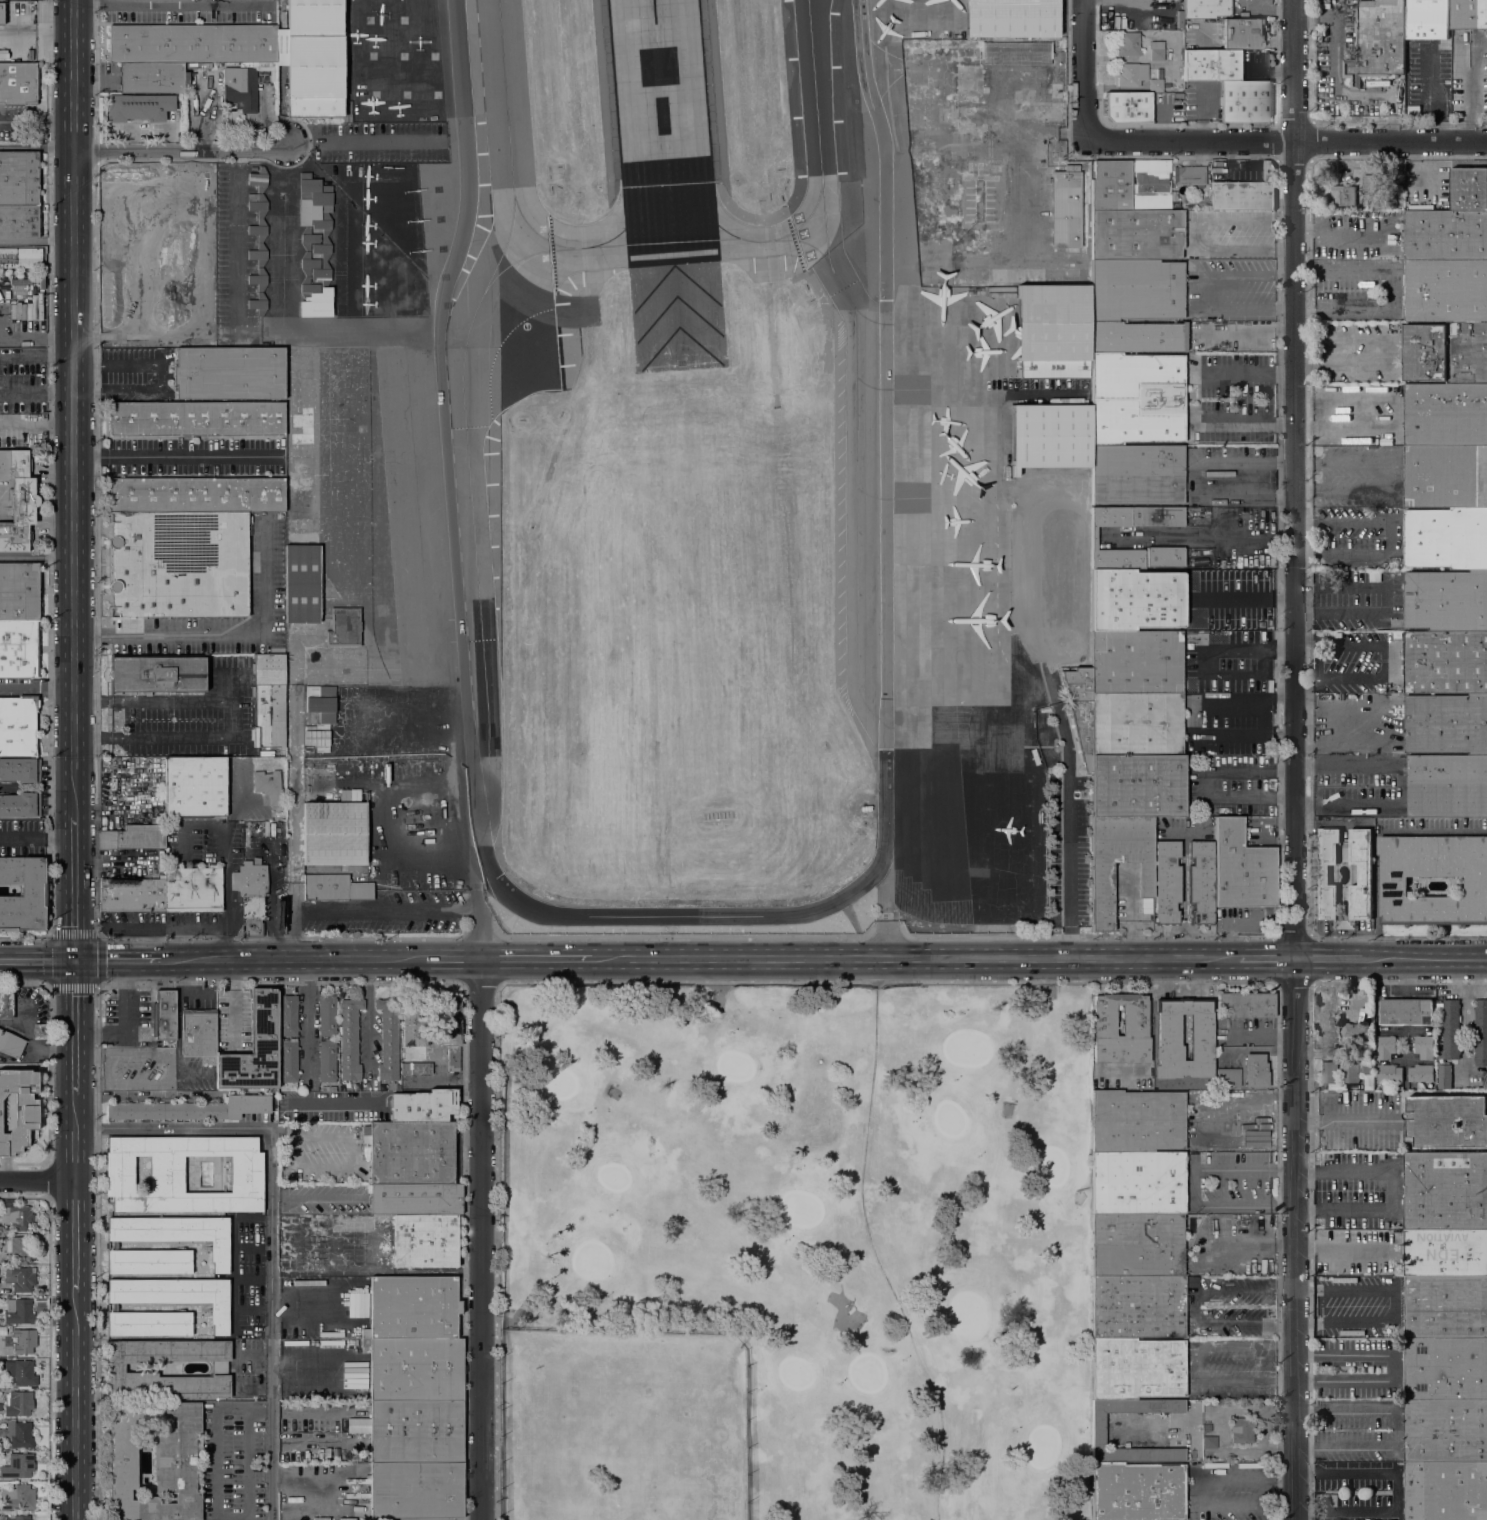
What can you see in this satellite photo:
building: (2, 0)
road: (111, 5)
building: (1206, 9)
road: (170, 10)
building: (1, 14)
building: (1468, 14)
building: (1010, 18)
building: (1427, 19)
helipad: (400, 21)
helipad: (368, 23)
building: (1172, 23)
building: (1241, 35)
road: (74, 40)
building: (1377, 40)
building: (192, 44)
building: (1129, 45)
building: (1156, 51)
building: (1016, 54)
helipad: (402, 56)
helipad: (371, 57)
helipad: (435, 57)
building: (315, 58)
building: (198, 66)
building: (1210, 66)
building: (264, 69)
building: (217, 71)
road: (1086, 72)
building: (1132, 75)
building: (152, 78)
building: (1156, 83)
building: (19, 85)
building: (240, 88)
road: (1334, 89)
building: (1056, 91)
building: (967, 94)
helipad: (435, 95)
helipad: (406, 97)
helipad: (374, 98)
building: (1245, 102)
road: (1469, 106)
building: (139, 107)
building: (1128, 108)
building: (279, 110)
airport taxiway: (815, 110)
building: (1052, 111)
road: (74, 116)
road: (1439, 119)
road: (37, 120)
airport taxiway: (506, 121)
building: (971, 128)
airport runway: (662, 132)
road: (1071, 132)
road: (456, 139)
road: (365, 140)
road: (1286, 145)
road: (179, 149)
building: (1191, 175)
building: (19, 179)
building: (259, 179)
building: (1150, 184)
building: (1369, 184)
building: (1111, 187)
building: (1133, 188)
helipad: (438, 189)
building: (1469, 189)
building: (1245, 193)
building: (1344, 194)
building: (1389, 203)
building: (1136, 205)
building: (1065, 208)
airport taxiway: (635, 215)
building: (19, 222)
helipad: (439, 223)
airport taxiway: (725, 232)
building: (1136, 235)
road: (1200, 235)
building: (1446, 235)
building: (324, 244)
airport taxiway: (804, 244)
airport taxiway: (637, 245)
airport taxiway: (503, 248)
helipad: (439, 251)
building: (258, 252)
building: (20, 258)
building: (309, 263)
road: (1345, 267)
road: (1252, 276)
helipad: (441, 279)
building: (1136, 290)
road: (1202, 291)
building: (1446, 291)
road: (1361, 306)
road: (1251, 307)
building: (21, 312)
building: (1053, 331)
building: (1137, 338)
road: (1392, 352)
building: (1446, 352)
road: (36, 360)
road: (1246, 371)
building: (229, 372)
road: (163, 375)
road: (36, 393)
building: (1137, 399)
road: (1392, 413)
building: (1446, 415)
building: (196, 418)
building: (354, 418)
road: (1247, 424)
road: (36, 426)
building: (1050, 436)
road: (175, 456)
airport: (677, 464)
airport taxiway: (855, 470)
building: (1137, 475)
road: (1377, 475)
building: (1446, 476)
road: (1188, 478)
road: (73, 481)
building: (196, 495)
building: (17, 502)
building: (299, 506)
road: (1343, 525)
airport taxiway: (472, 529)
road: (1229, 537)
building: (1094, 538)
building: (1446, 538)
road: (1354, 556)
road: (36, 557)
building: (1164, 557)
building: (178, 564)
building: (301, 583)
building: (19, 591)
road: (1245, 598)
road: (1384, 599)
building: (1136, 600)
building: (1446, 601)
building: (344, 627)
road: (218, 631)
building: (1336, 635)
road: (1309, 641)
road: (1238, 646)
building: (19, 649)
road: (1382, 661)
building: (1446, 662)
building: (1136, 663)
building: (157, 674)
road: (1309, 680)
road: (36, 689)
building: (1383, 690)
building: (269, 700)
building: (321, 702)
building: (1079, 710)
road: (234, 717)
building: (1447, 724)
building: (1136, 725)
building: (18, 726)
building: (317, 737)
road: (1295, 759)
building: (20, 770)
road: (1202, 783)
building: (268, 786)
building: (1137, 786)
building: (1447, 786)
building: (194, 787)
building: (339, 795)
building: (344, 797)
building: (356, 798)
building: (20, 805)
building: (866, 808)
road: (1070, 817)
building: (154, 821)
road: (295, 825)
road: (1415, 828)
airport hangar: (335, 834)
building: (335, 834)
building: (133, 837)
road: (35, 838)
building: (1345, 839)
building: (1241, 868)
building: (1326, 873)
building: (1361, 873)
building: (1102, 880)
building: (1201, 882)
building: (1167, 883)
road: (72, 886)
building: (1394, 886)
building: (335, 888)
road: (1182, 888)
building: (193, 889)
building: (23, 894)
building: (132, 895)
building: (251, 896)
road: (886, 911)
road: (1375, 911)
road: (680, 915)
road: (1293, 934)
road: (1397, 936)
road: (687, 937)
road: (24, 938)
road: (536, 959)
road: (916, 959)
road: (1266, 959)
road: (1328, 959)
road: (1425, 959)
road: (452, 960)
road: (36, 961)
traffic signals: (73, 961)
road: (120, 961)
road: (296, 961)
road: (886, 981)
road: (1294, 981)
road: (1399, 981)
road: (1455, 981)
road: (280, 983)
road: (481, 983)
road: (24, 984)
road: (48, 985)
building: (6, 1004)
building: (1246, 1005)
building: (1407, 1011)
road: (1468, 1013)
building: (163, 1015)
building: (289, 1015)
building: (327, 1016)
building: (1134, 1020)
road: (308, 1022)
building: (414, 1025)
building: (1451, 1028)
building: (449, 1030)
building: (1201, 1030)
building: (38, 1032)
building: (1356, 1032)
building: (1480, 1032)
building: (199, 1035)
building: (350, 1039)
building: (389, 1039)
road: (34, 1042)
building: (10, 1045)
building: (1385, 1047)
building: (1425, 1047)
building: (253, 1050)
building: (1369, 1051)
park: (966, 1052)
building: (327, 1061)
building: (288, 1062)
building: (1369, 1066)
building: (416, 1068)
park: (734, 1068)
road: (73, 1071)
building: (1255, 1071)
road: (49, 1072)
building: (1328, 1072)
building: (1350, 1072)
building: (1390, 1073)
building: (1421, 1073)
building: (1228, 1076)
building: (1445, 1076)
building: (1485, 1079)
park: (559, 1085)
building: (325, 1089)
building: (343, 1089)
building: (423, 1106)
building: (189, 1110)
building: (19, 1111)
park: (949, 1121)
building: (1446, 1121)
building: (1137, 1122)
road: (1345, 1122)
building: (410, 1153)
park: (1052, 1168)
building: (166, 1175)
park: (612, 1178)
road: (51, 1180)
road: (36, 1181)
building: (1137, 1183)
road: (1197, 1187)
road: (1390, 1189)
building: (1446, 1191)
building: (415, 1200)
park: (800, 1211)
building: (18, 1218)
road: (270, 1225)
road: (73, 1237)
road: (480, 1239)
building: (425, 1241)
building: (1137, 1245)
road: (1248, 1245)
road: (1343, 1245)
building: (219, 1247)
building: (15, 1249)
road: (496, 1251)
road: (97, 1252)
park: (795, 1252)
building: (1446, 1253)
park: (592, 1262)
building: (20, 1278)
building: (1446, 1292)
road: (1394, 1303)
building: (357, 1305)
road: (281, 1306)
road: (1193, 1306)
building: (1137, 1307)
building: (412, 1308)
building: (219, 1309)
building: (18, 1311)
park: (967, 1319)
road: (351, 1320)
building: (1446, 1323)
building: (24, 1341)
road: (50, 1360)
road: (280, 1363)
road: (1395, 1366)
building: (115, 1368)
building: (415, 1369)
building: (1137, 1369)
building: (1446, 1369)
building: (23, 1374)
park: (795, 1374)
park: (865, 1375)
road: (349, 1382)
building: (18, 1404)
road: (74, 1406)
park: (623, 1426)
building: (1207, 1427)
road: (1395, 1428)
building: (1242, 1430)
building: (1098, 1431)
building: (1446, 1431)
building: (415, 1432)
building: (20, 1434)
building: (1209, 1442)
park: (1041, 1448)
building: (353, 1457)
building: (155, 1460)
building: (18, 1466)
road: (1205, 1480)
building: (416, 1491)
building: (1137, 1491)
road: (1395, 1491)
building: (1446, 1491)
building: (17, 1498)
road: (216, 1498)
building: (23, 1518)

